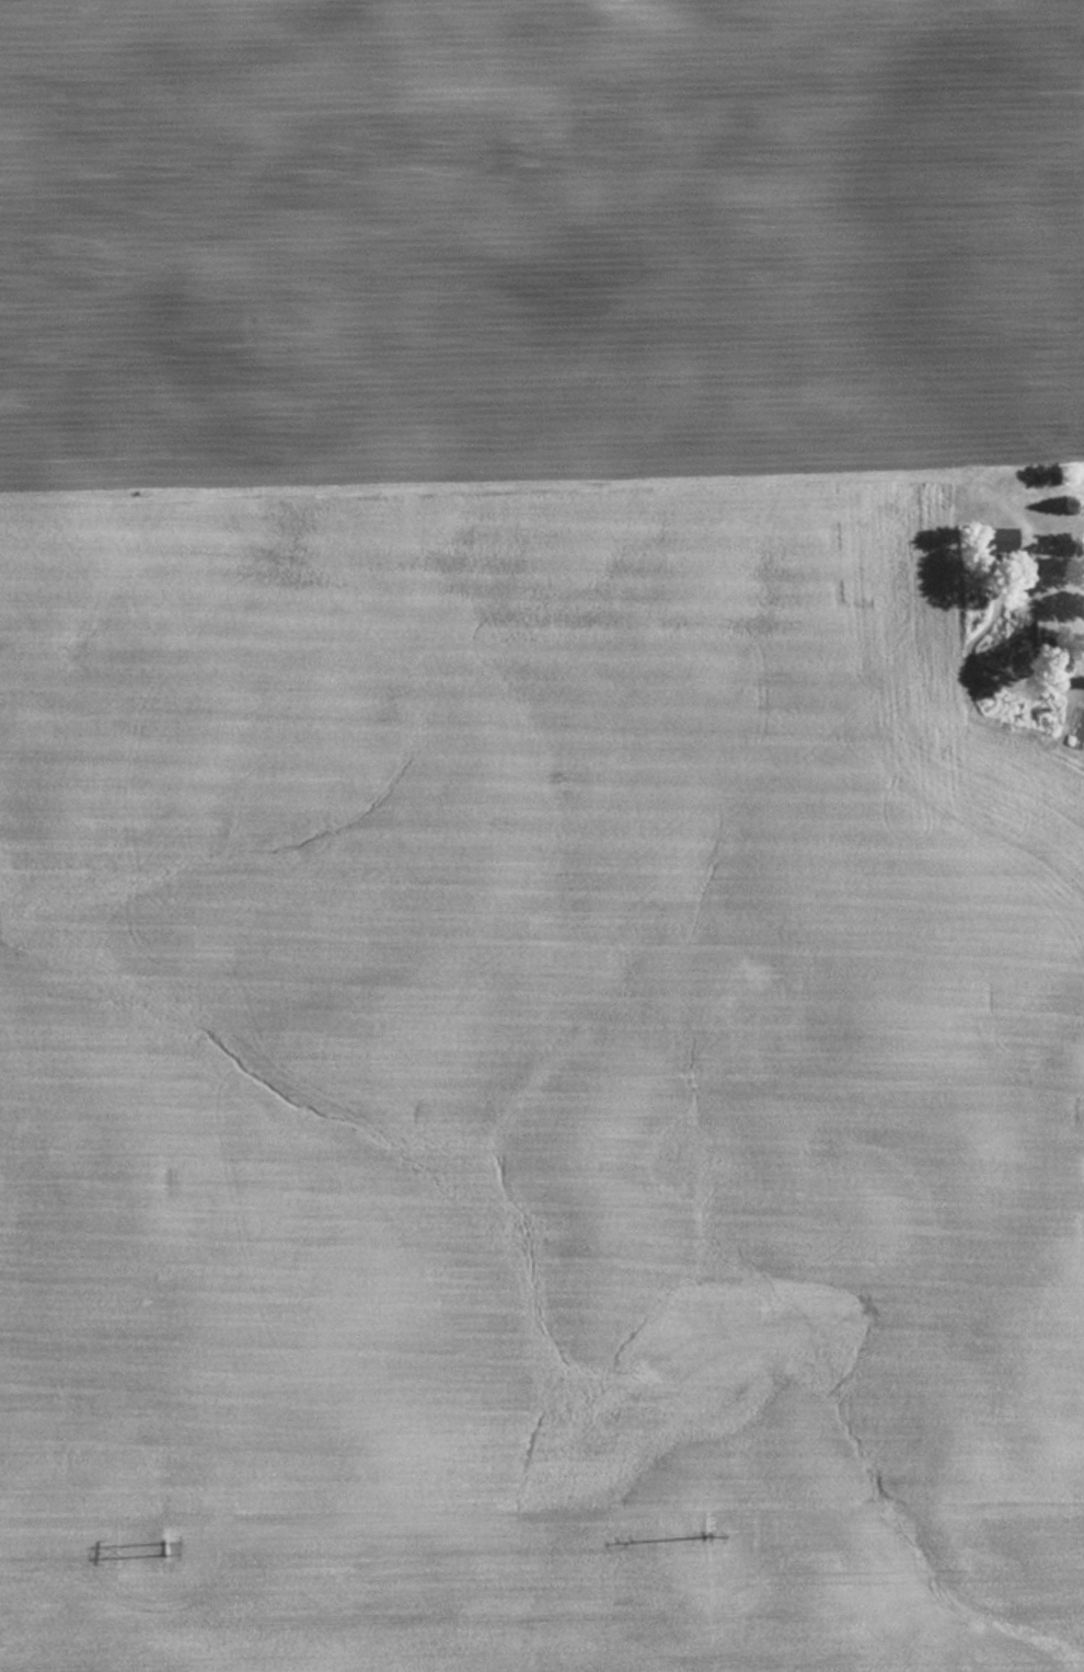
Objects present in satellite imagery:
building: (996, 539)
power tower: (705, 1538)
power tower: (169, 1549)

